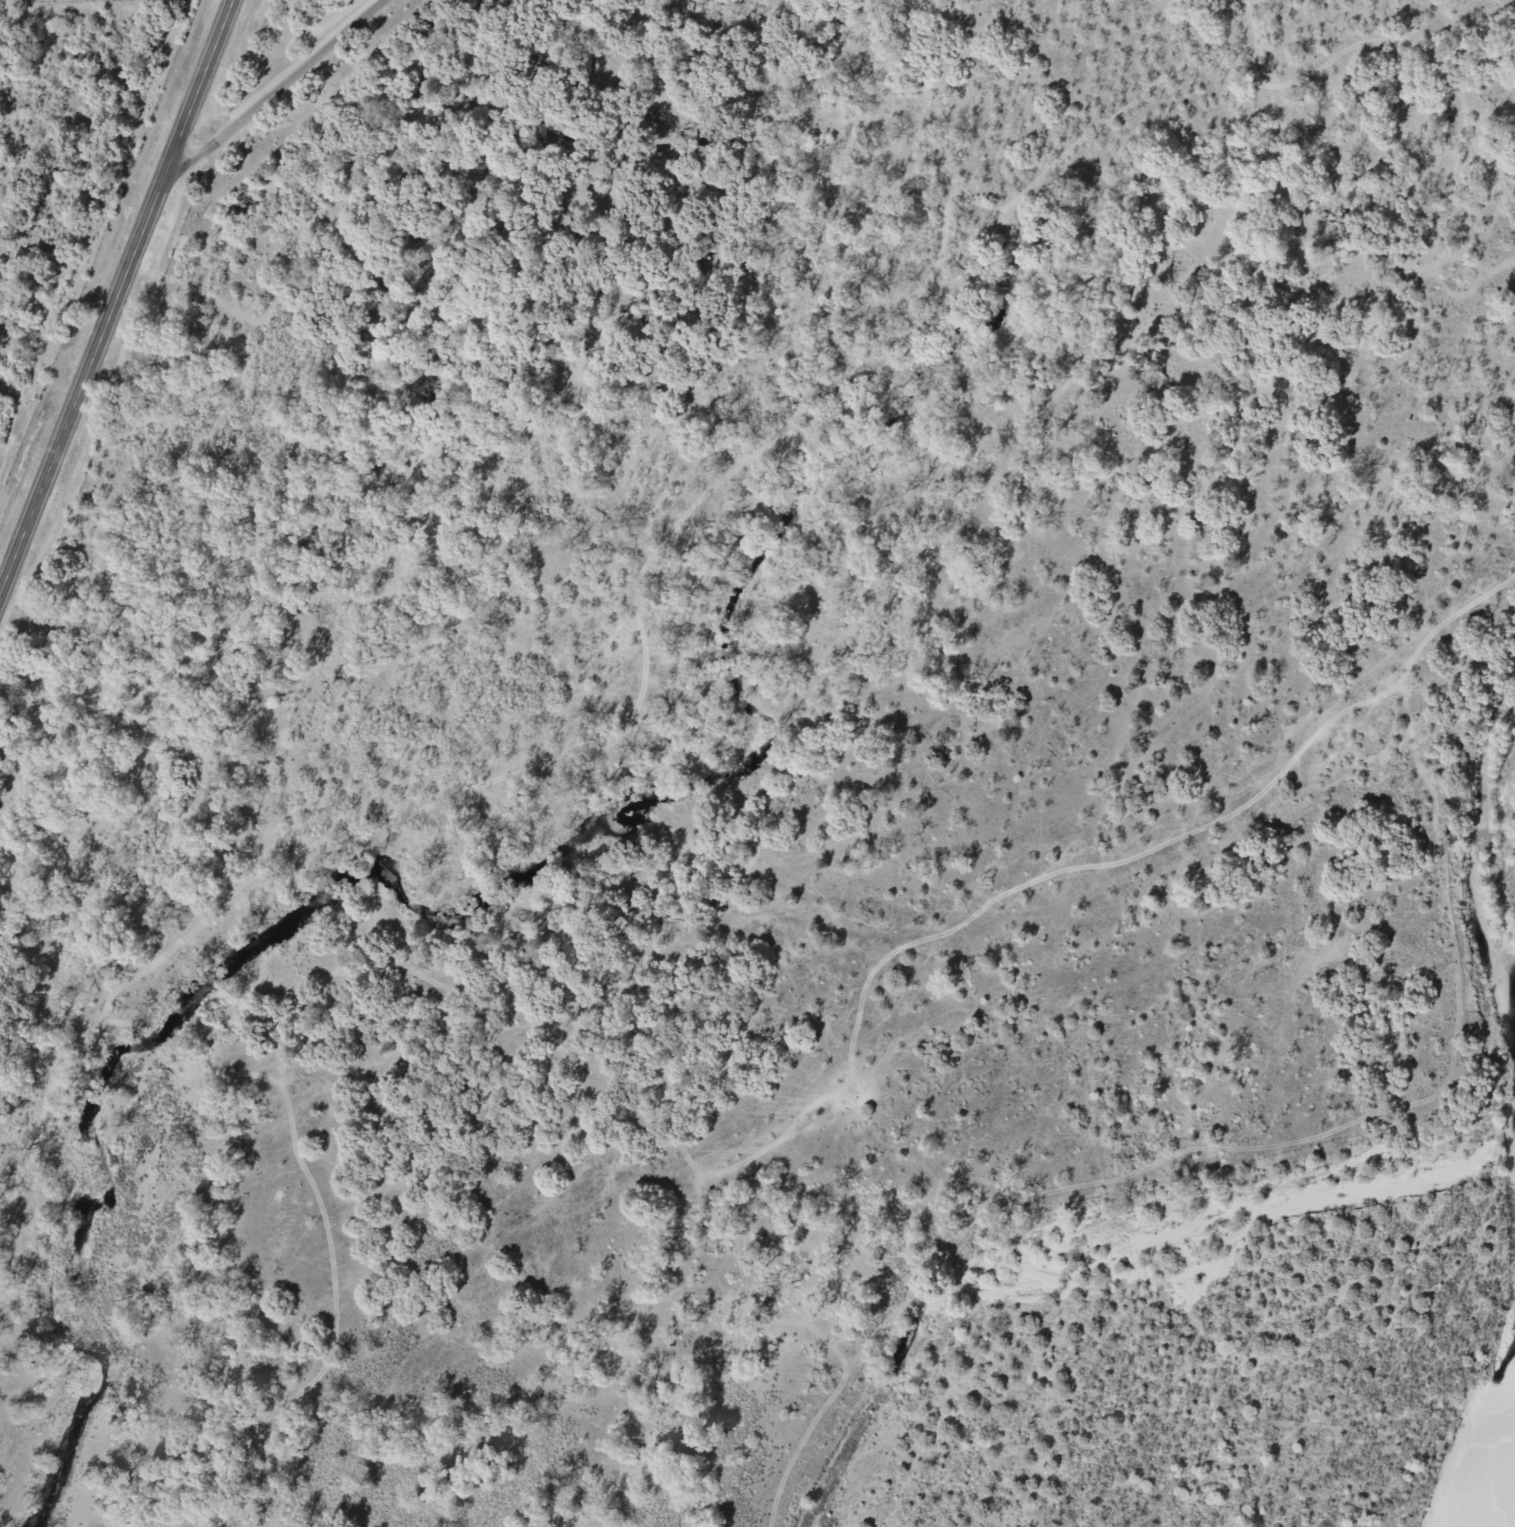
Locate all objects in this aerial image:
road: (270, 95)
road: (118, 302)
river: (1491, 850)

